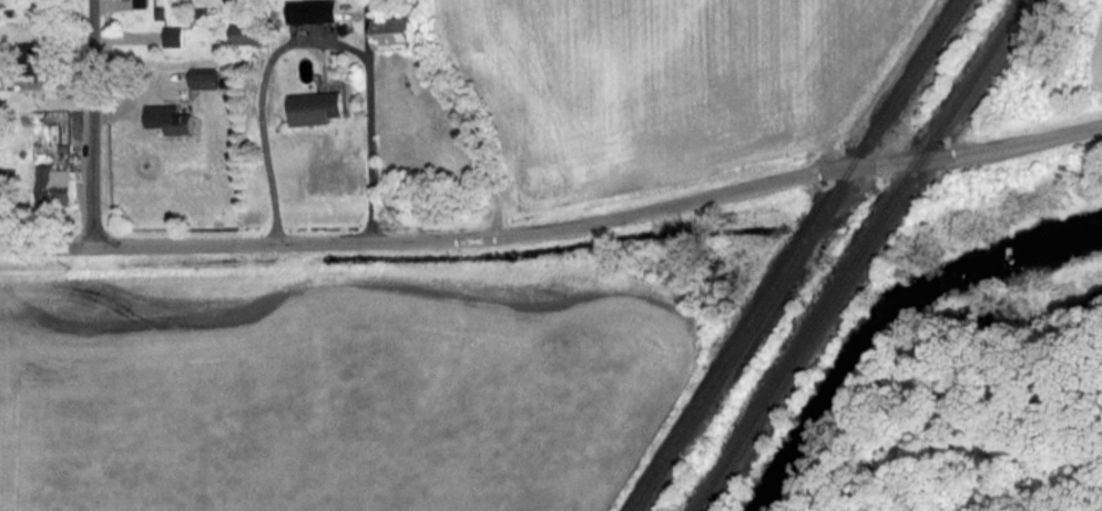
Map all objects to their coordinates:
building: (312, 10)
building: (392, 32)
building: (246, 33)
building: (173, 35)
crop: (1100, 70)
crop: (665, 75)
building: (204, 78)
road: (261, 102)
building: (314, 108)
building: (169, 119)
road: (361, 120)
road: (94, 123)
building: (53, 184)
road: (555, 228)
railway: (794, 255)
railway: (860, 255)
crop: (312, 391)

